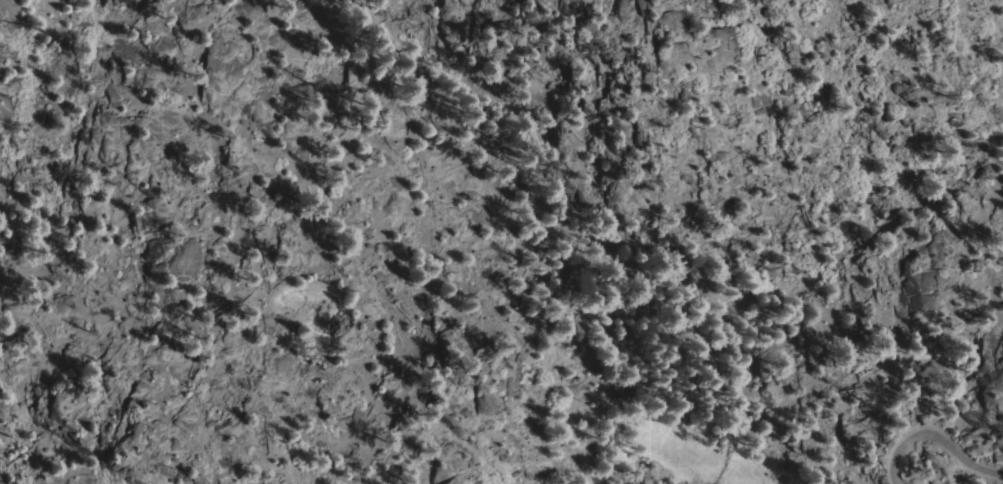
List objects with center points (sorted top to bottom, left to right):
road: (934, 435)

